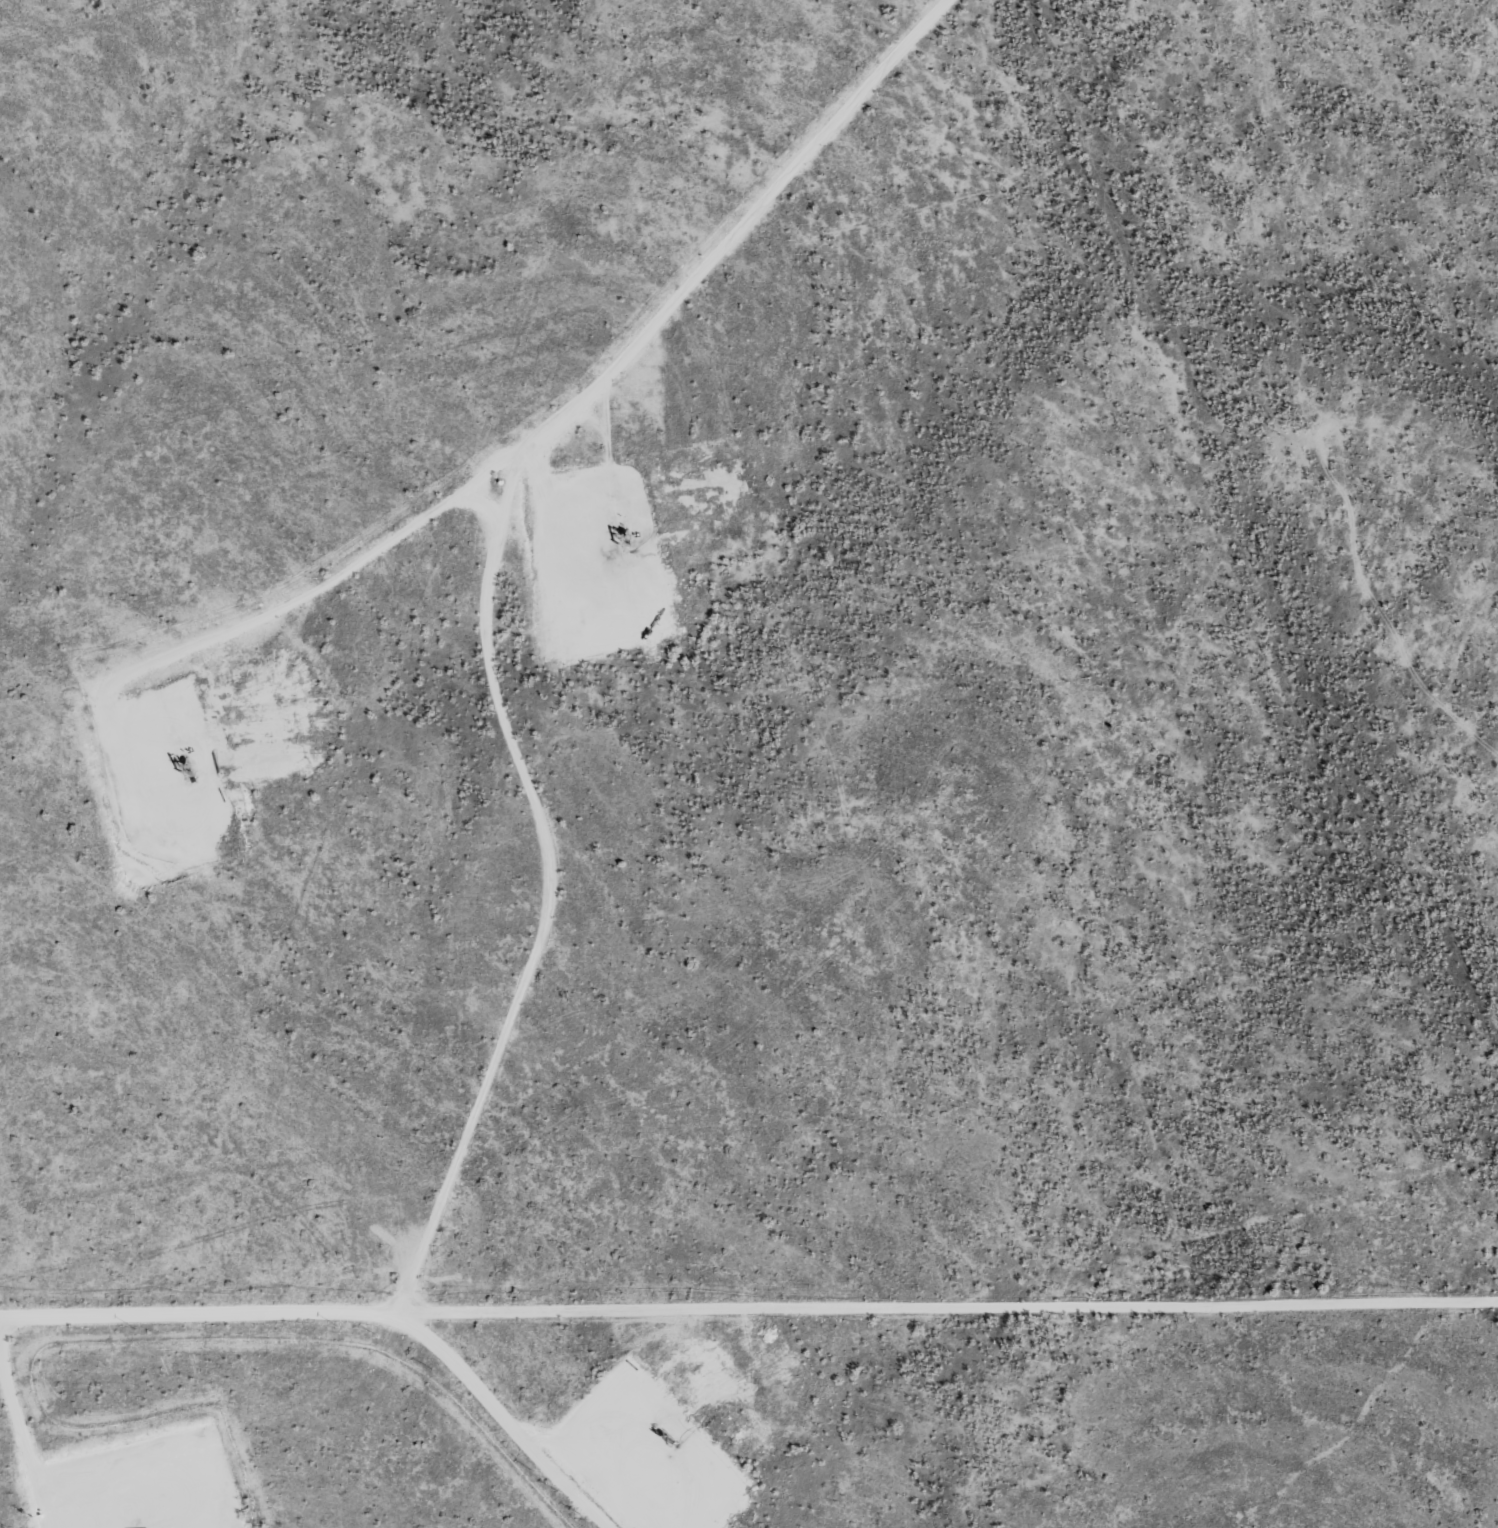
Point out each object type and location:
road: (746, 1350)
road: (534, 1443)

